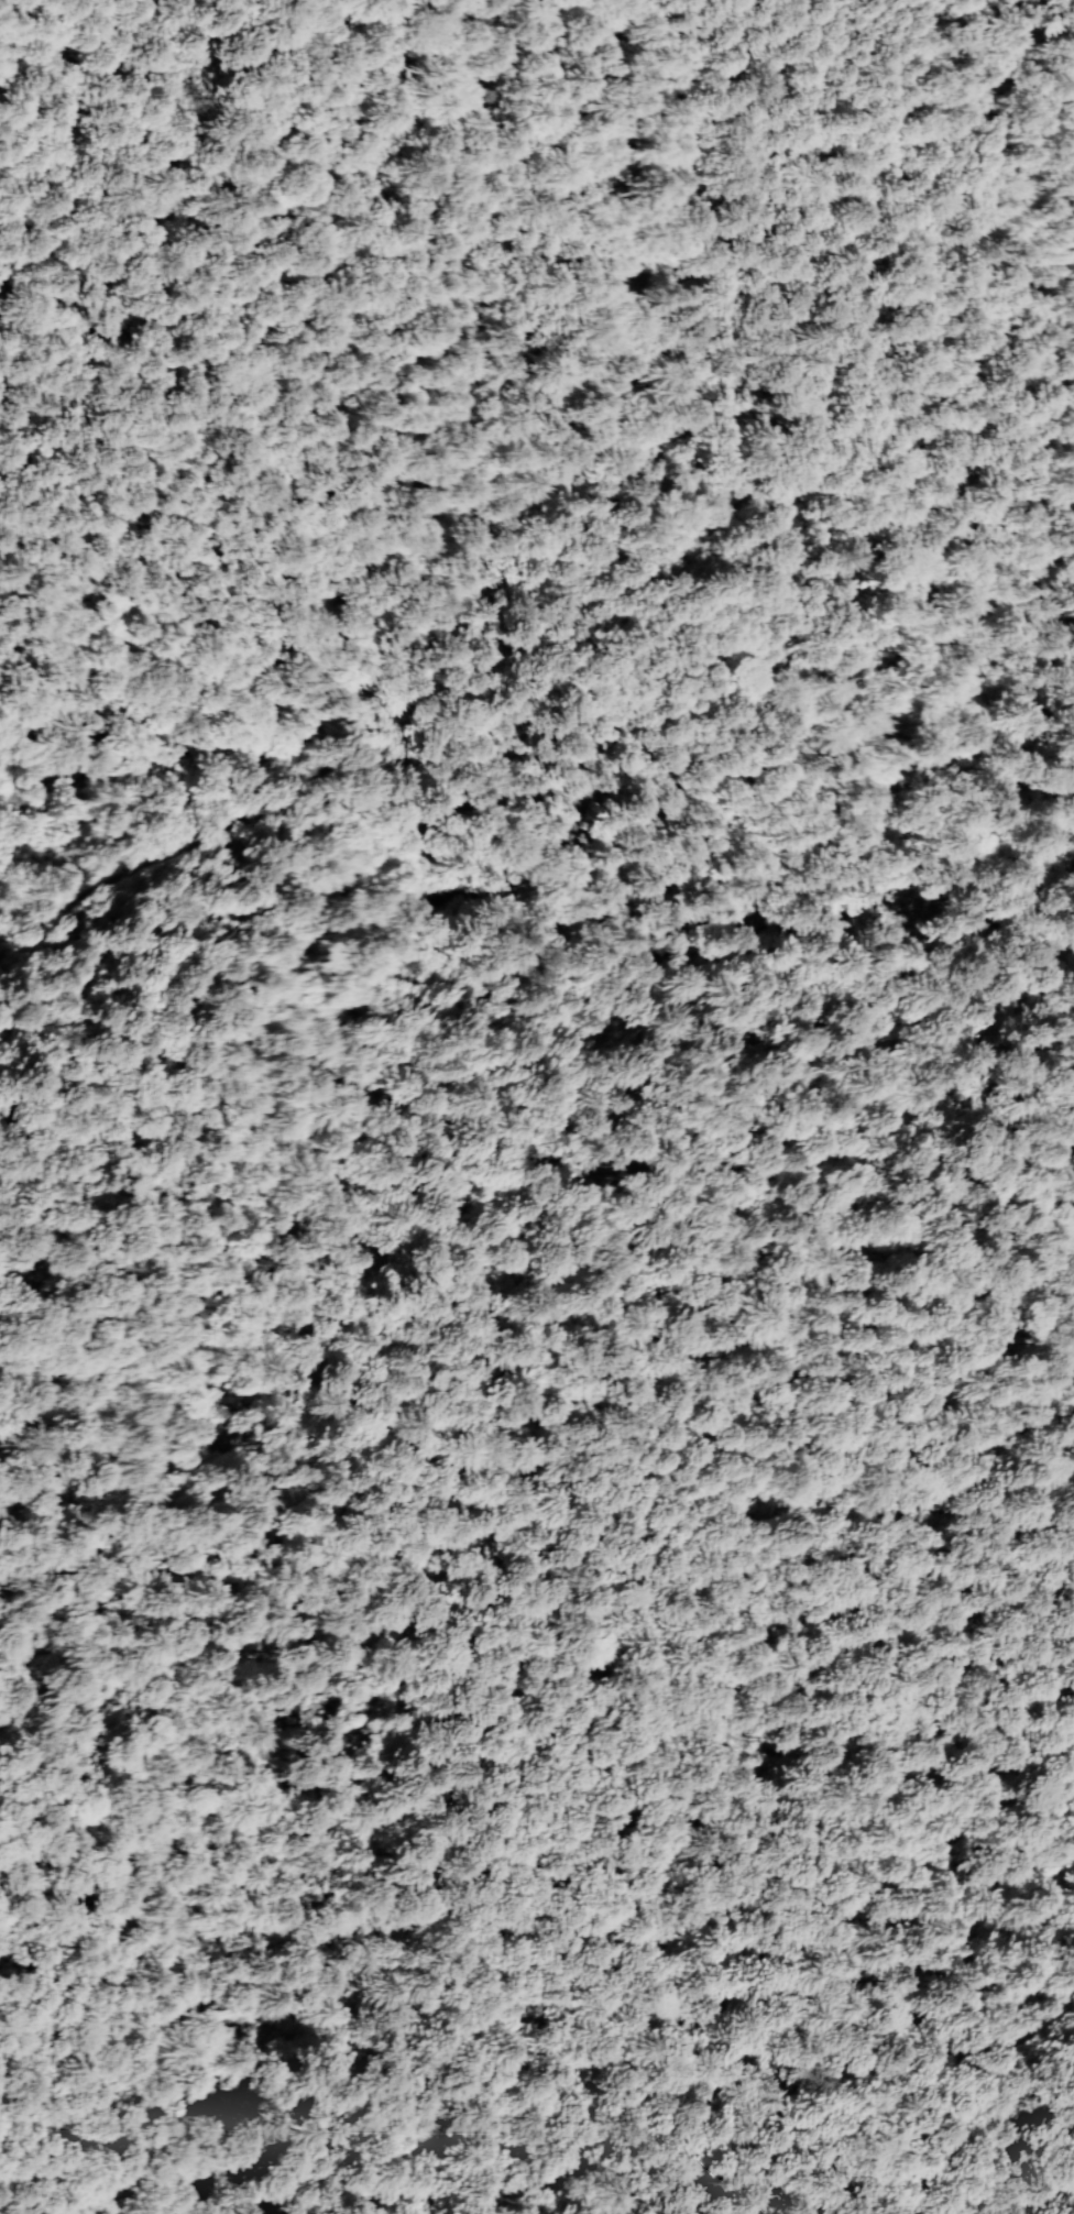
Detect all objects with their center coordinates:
road: (341, 13)
road: (324, 688)
road: (413, 823)
road: (185, 831)
building: (469, 869)
road: (794, 1962)

